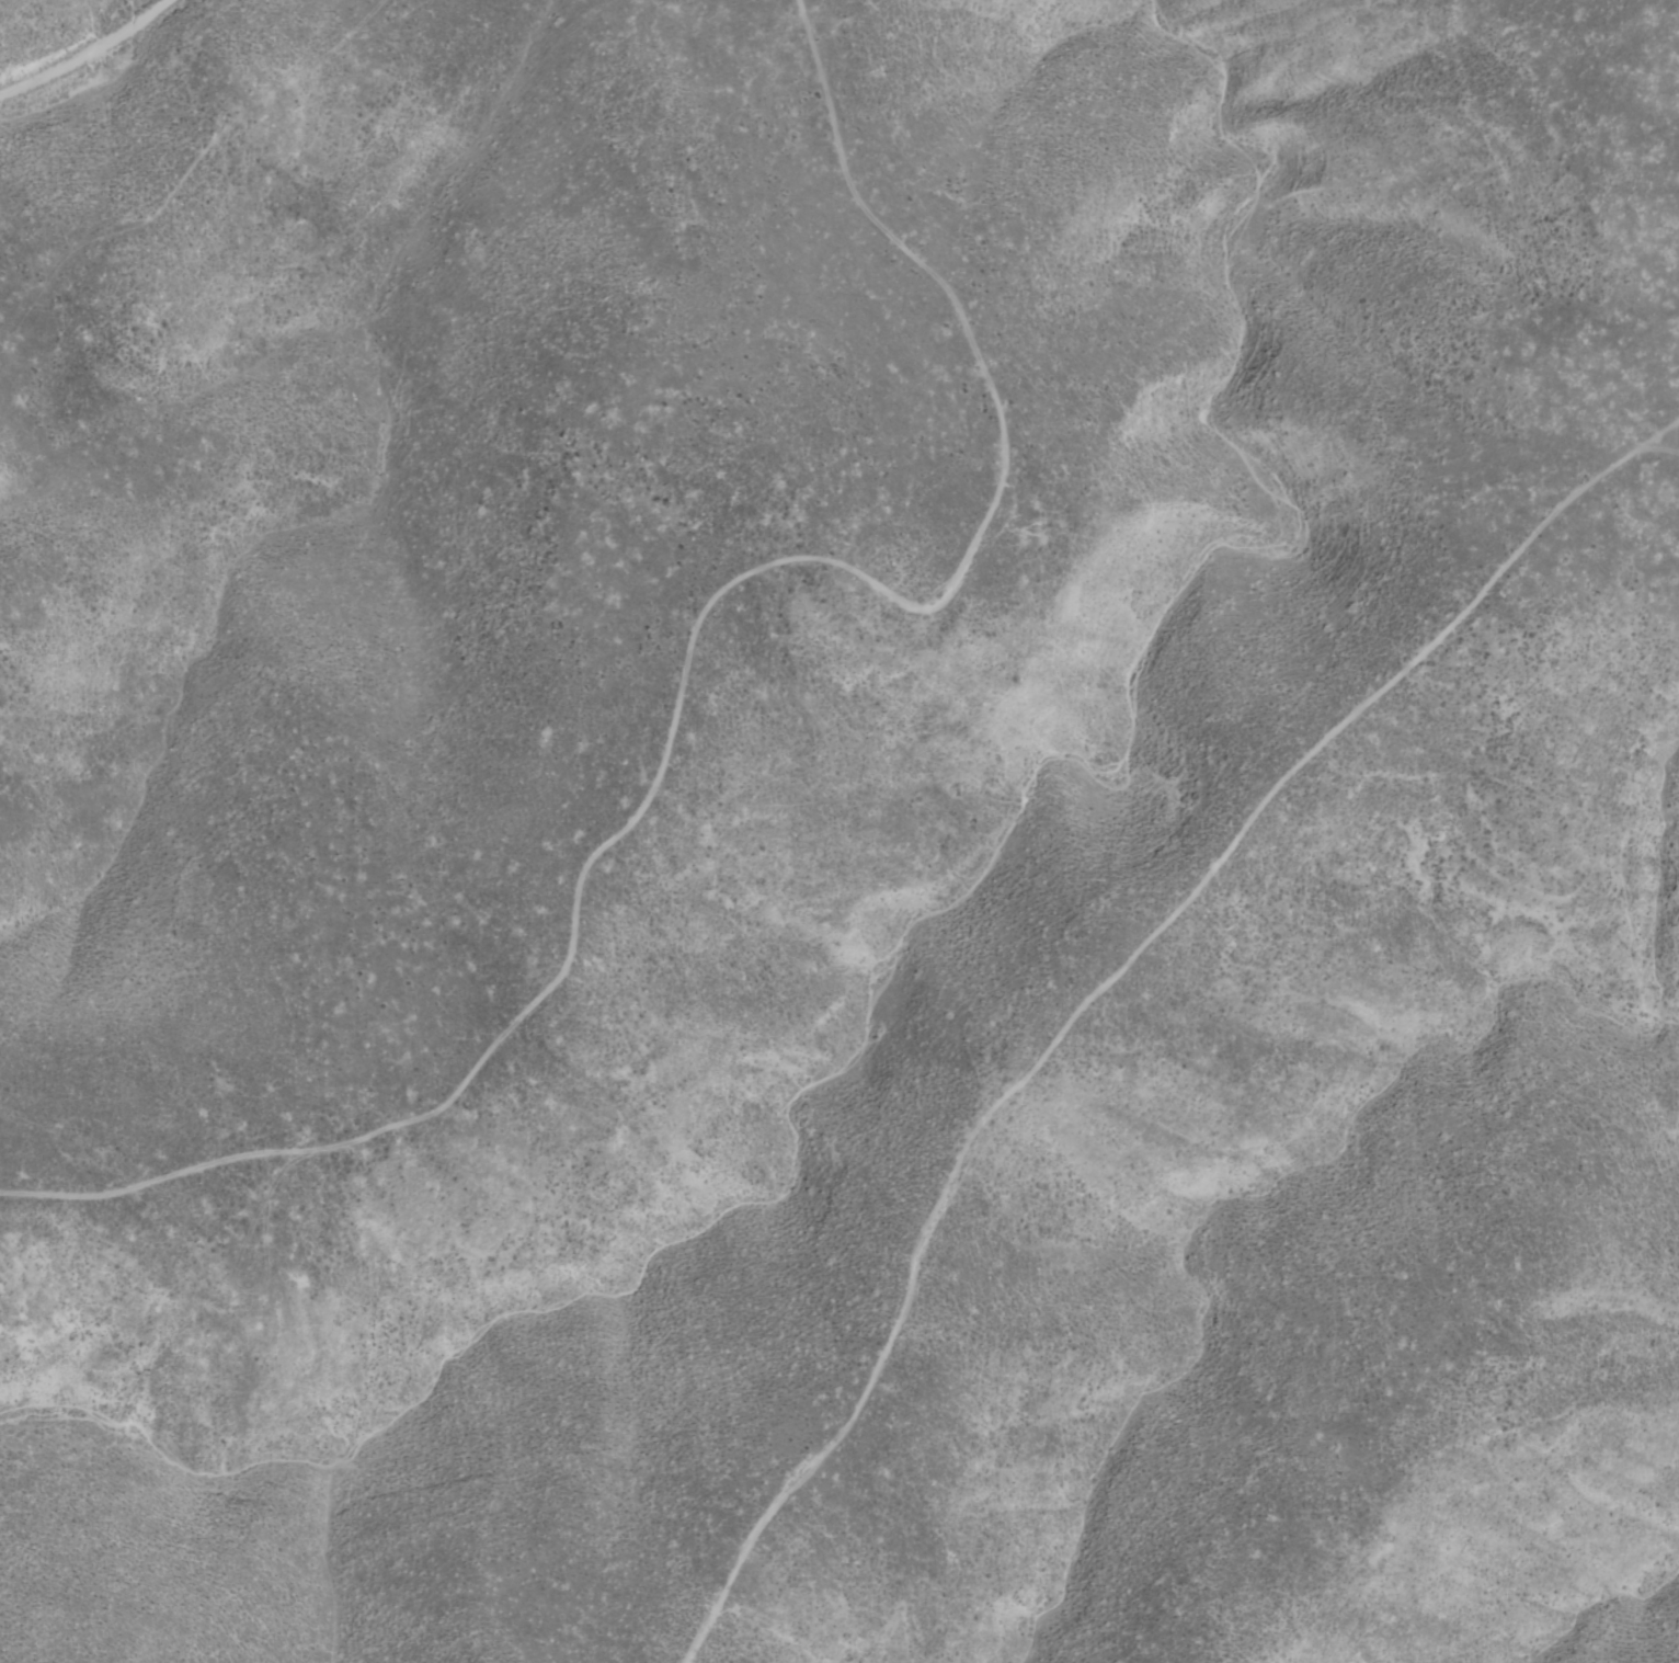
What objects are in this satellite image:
road: (88, 53)
road: (696, 654)
road: (1109, 984)

